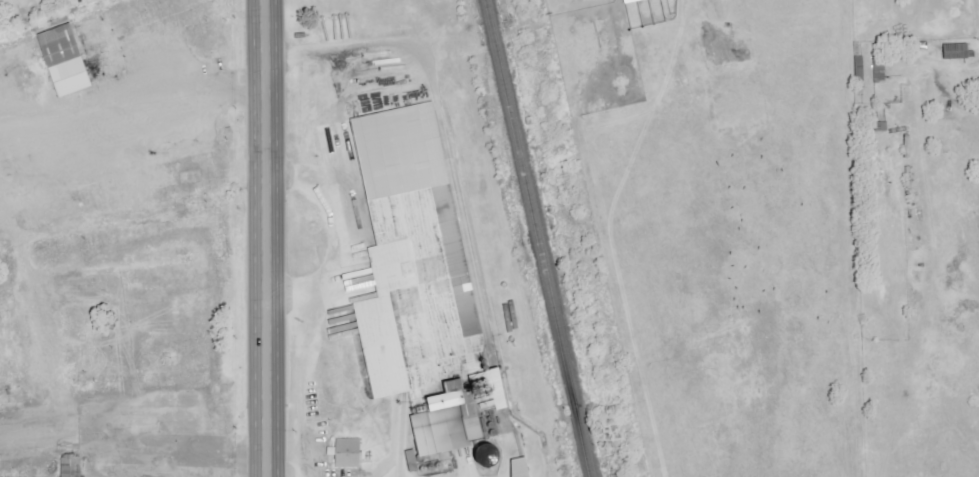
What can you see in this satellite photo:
building: (637, 1)
road: (338, 46)
building: (66, 61)
road: (159, 238)
road: (247, 238)
road: (338, 238)
railway: (536, 238)
road: (133, 317)
building: (430, 322)
road: (297, 388)
road: (85, 418)
road: (125, 446)
building: (344, 458)
building: (417, 460)
building: (72, 464)
building: (526, 468)
parking lot: (204, 474)

